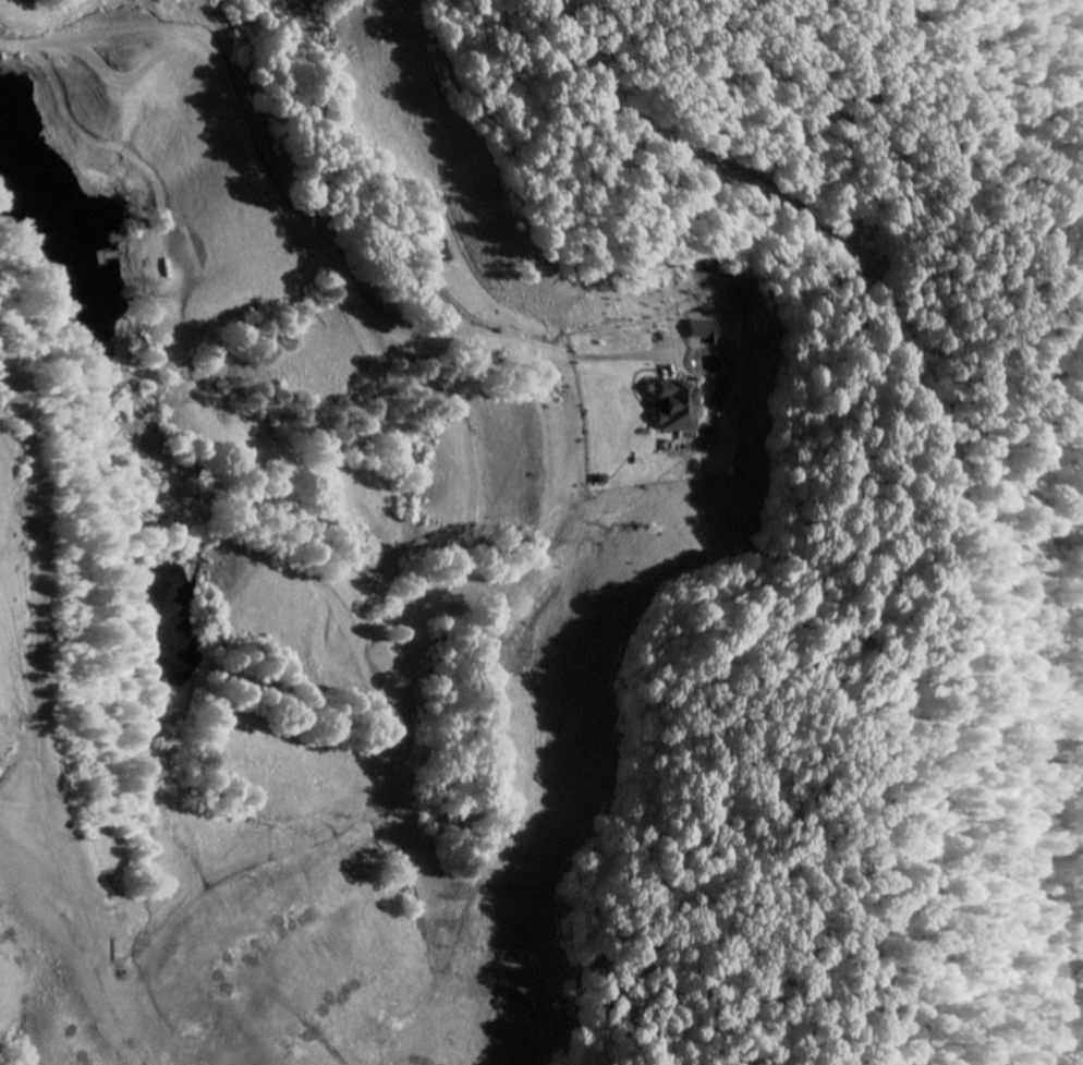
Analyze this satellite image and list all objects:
building: (701, 332)
building: (710, 402)
building: (666, 408)

